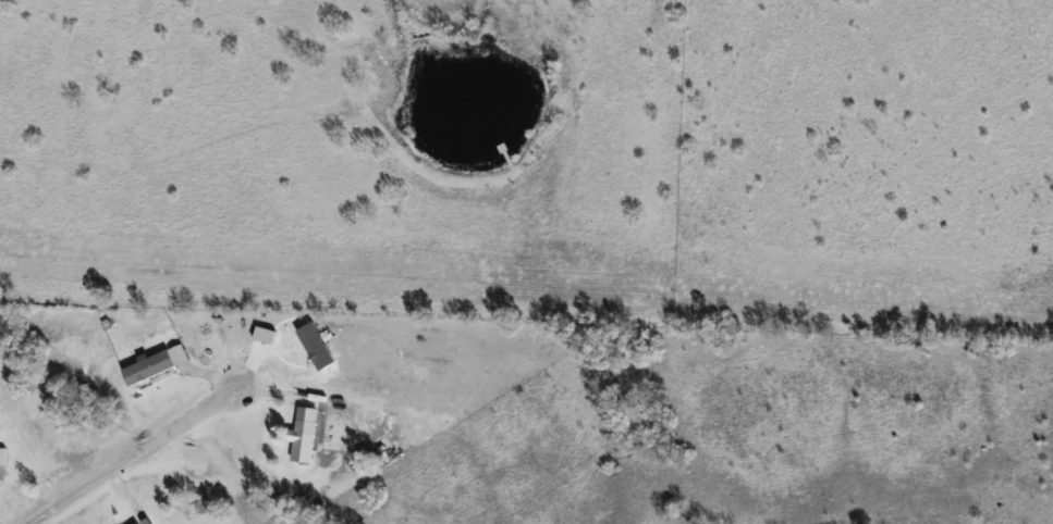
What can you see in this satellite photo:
building: (149, 367)
building: (305, 435)
road: (132, 454)
building: (3, 457)

